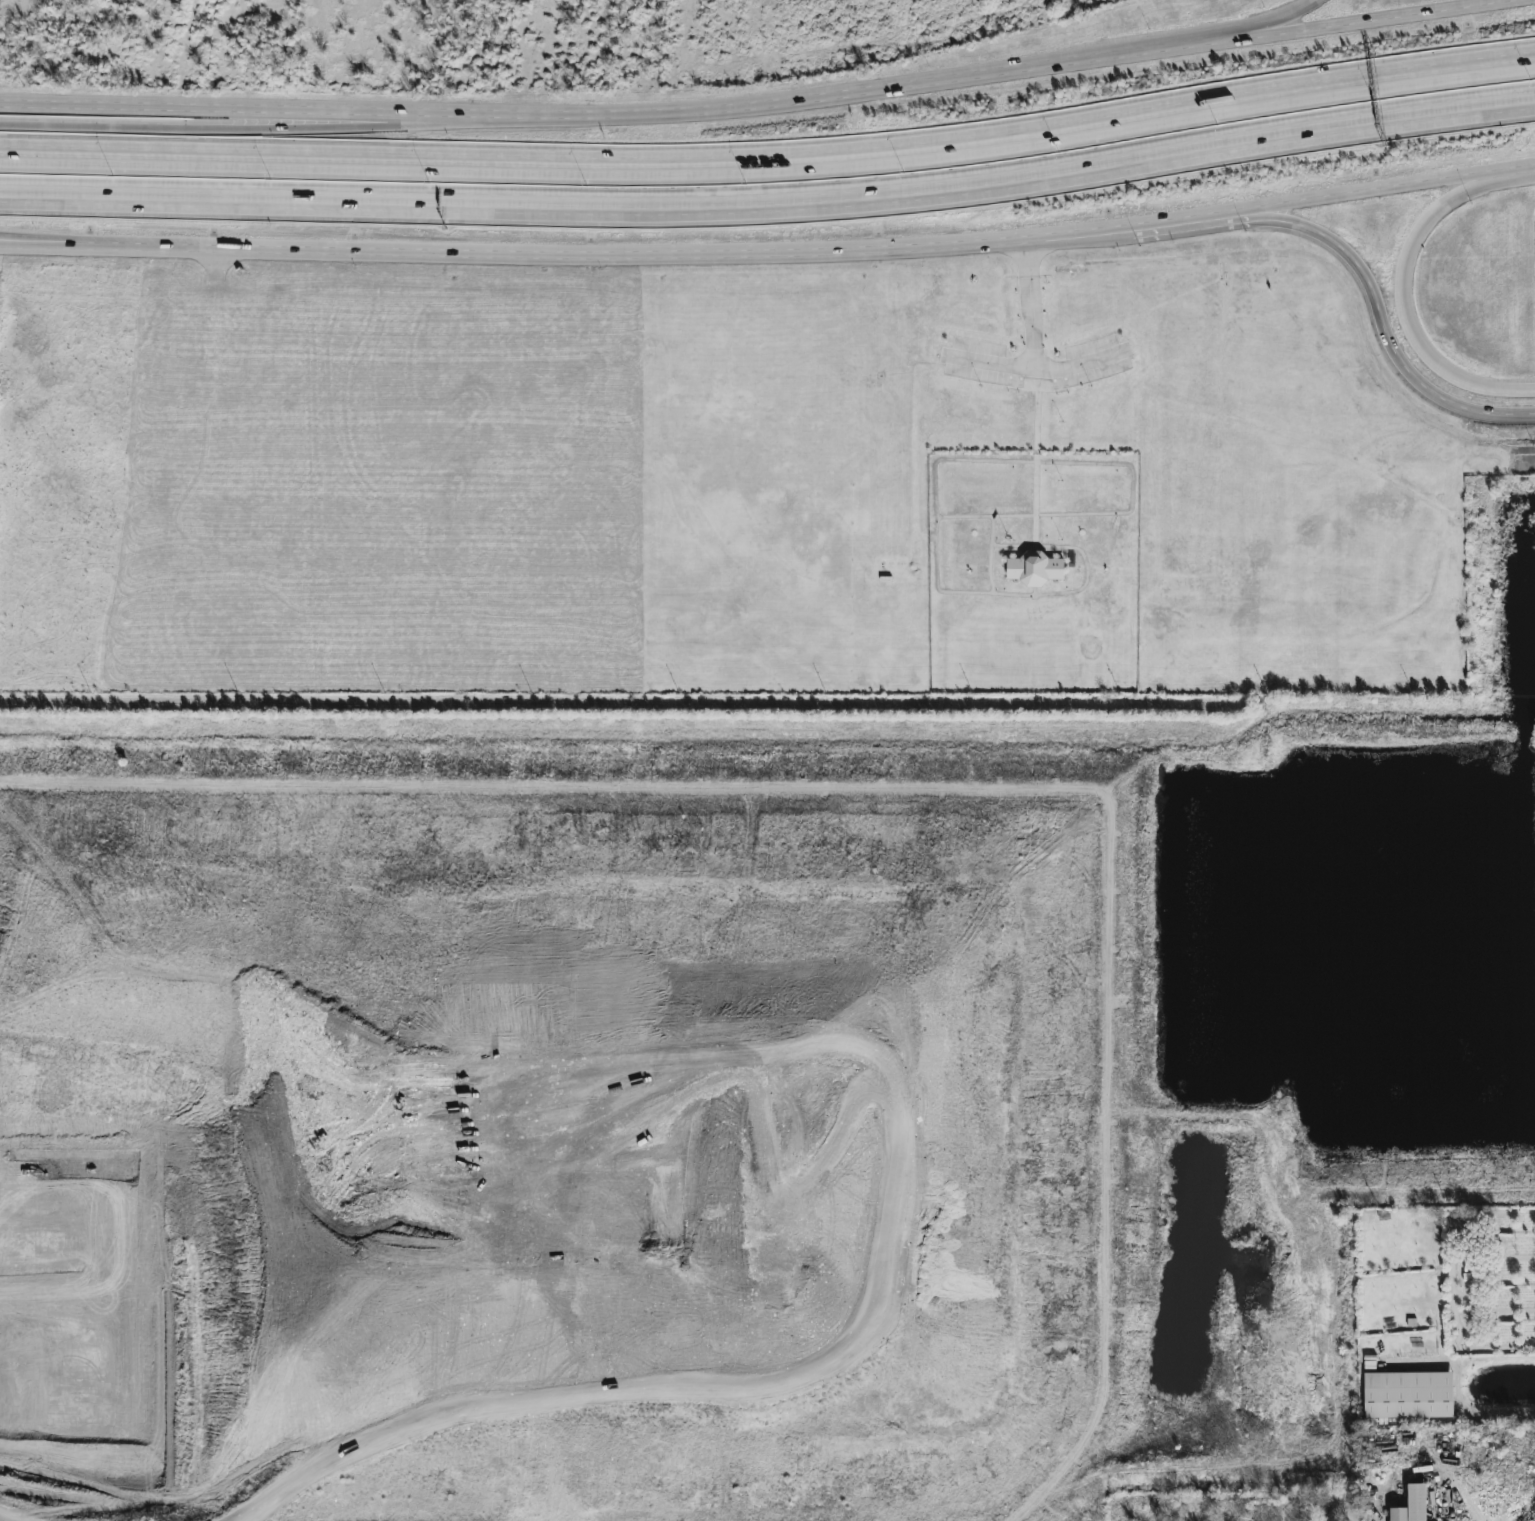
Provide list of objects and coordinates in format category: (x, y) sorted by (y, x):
road: (1288, 16)
road: (1386, 18)
road: (1245, 29)
road: (1246, 36)
road: (1158, 48)
road: (543, 114)
road: (301, 128)
road: (771, 171)
road: (1516, 175)
road: (1364, 196)
road: (771, 197)
road: (1171, 222)
road: (48, 242)
road: (48, 248)
road: (605, 258)
road: (1030, 306)
road: (1408, 306)
road: (1378, 322)
road: (1036, 369)
building: (1035, 569)
landfill: (602, 1158)
building: (1408, 1395)
road: (1501, 1414)
building: (1412, 1505)

